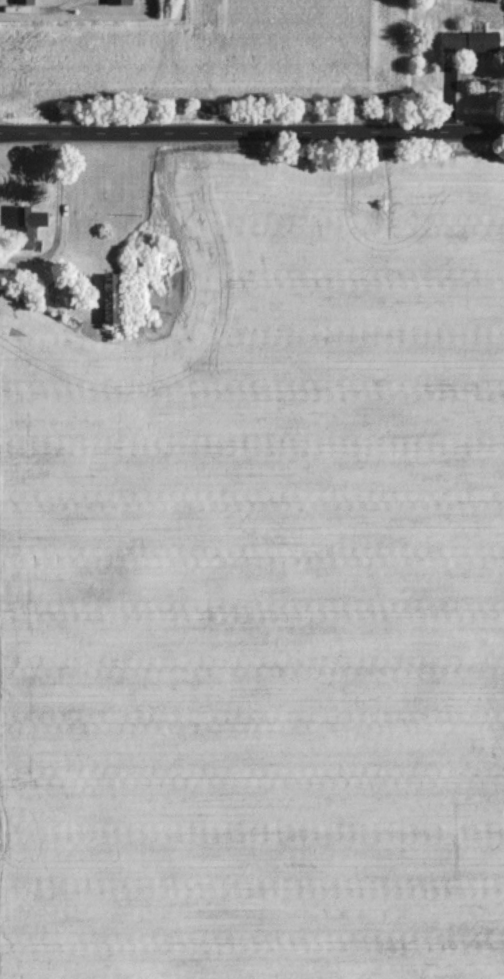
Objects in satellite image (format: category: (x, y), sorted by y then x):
building: (23, 2)
building: (469, 41)
road: (251, 132)
road: (56, 218)
building: (28, 222)
building: (111, 297)

